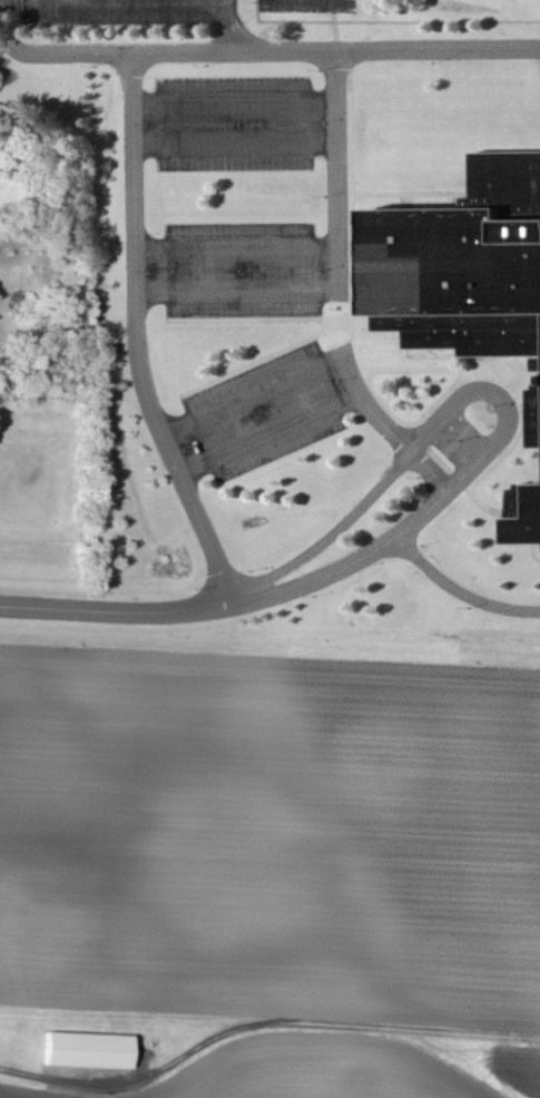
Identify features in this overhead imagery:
road: (55, 1)
road: (139, 3)
road: (228, 27)
road: (251, 52)
road: (237, 101)
road: (237, 147)
road: (238, 248)
building: (468, 266)
road: (340, 274)
road: (140, 350)
road: (255, 396)
road: (390, 429)
road: (273, 435)
road: (374, 496)
building: (529, 520)
road: (401, 536)
road: (461, 591)
road: (102, 611)
building: (90, 1050)
road: (102, 1081)

